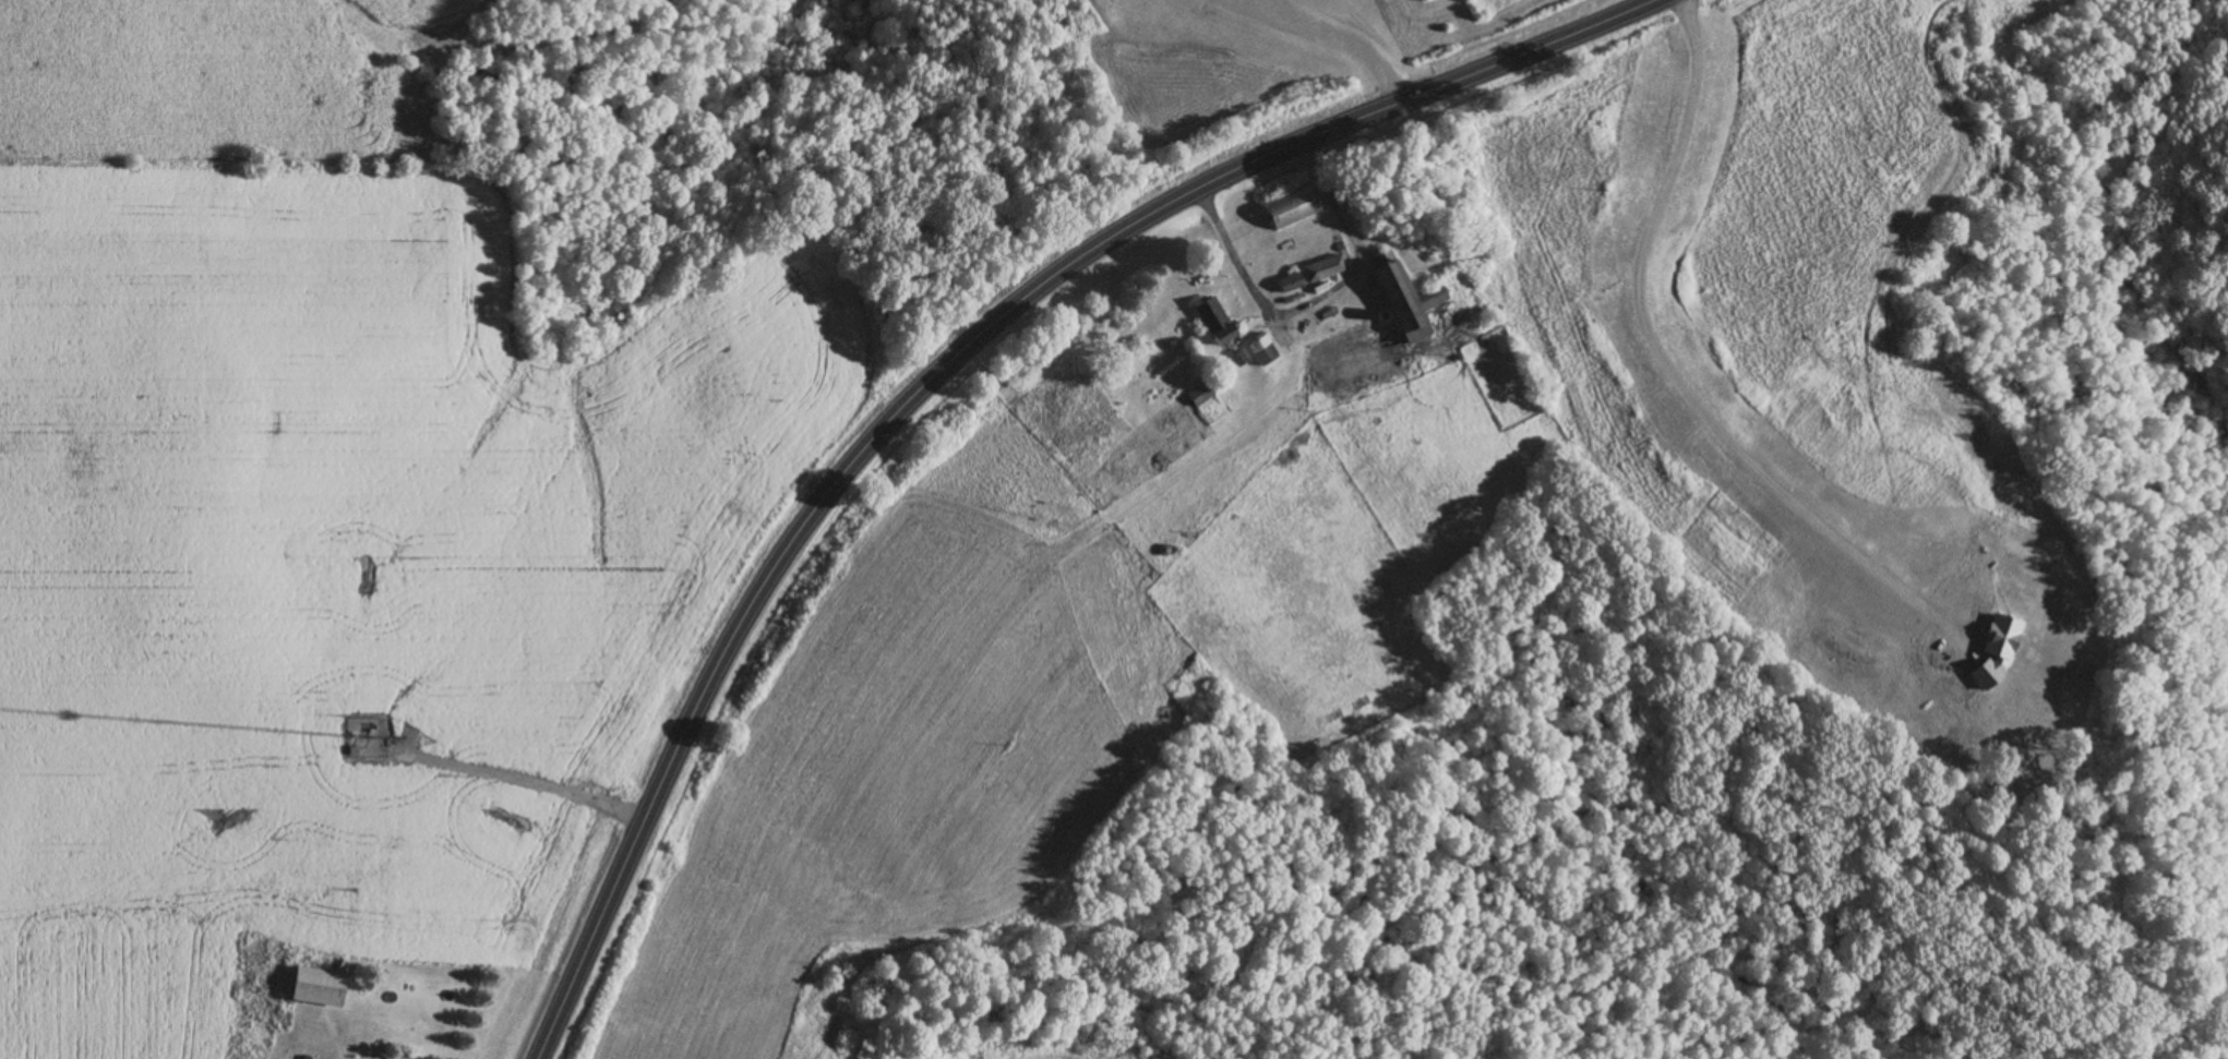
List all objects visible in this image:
road: (1339, 36)
building: (1294, 210)
building: (1326, 269)
building: (1291, 284)
road: (1316, 297)
building: (1398, 302)
building: (1214, 322)
building: (1261, 350)
road: (929, 369)
building: (1200, 394)
building: (318, 988)

